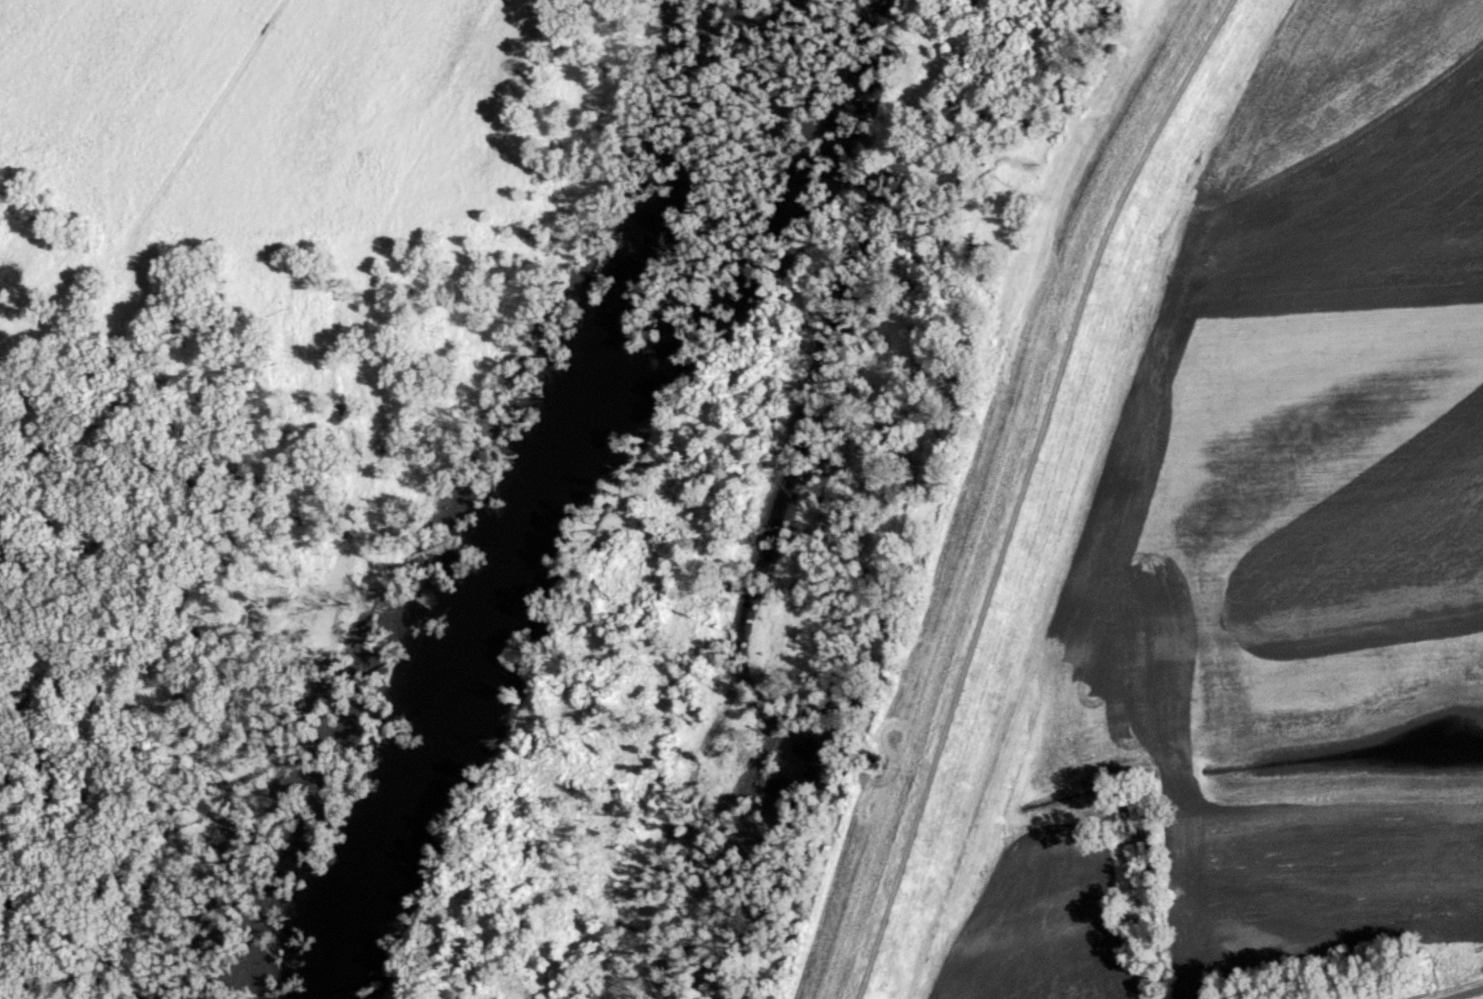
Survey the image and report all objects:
road: (1464, 993)

